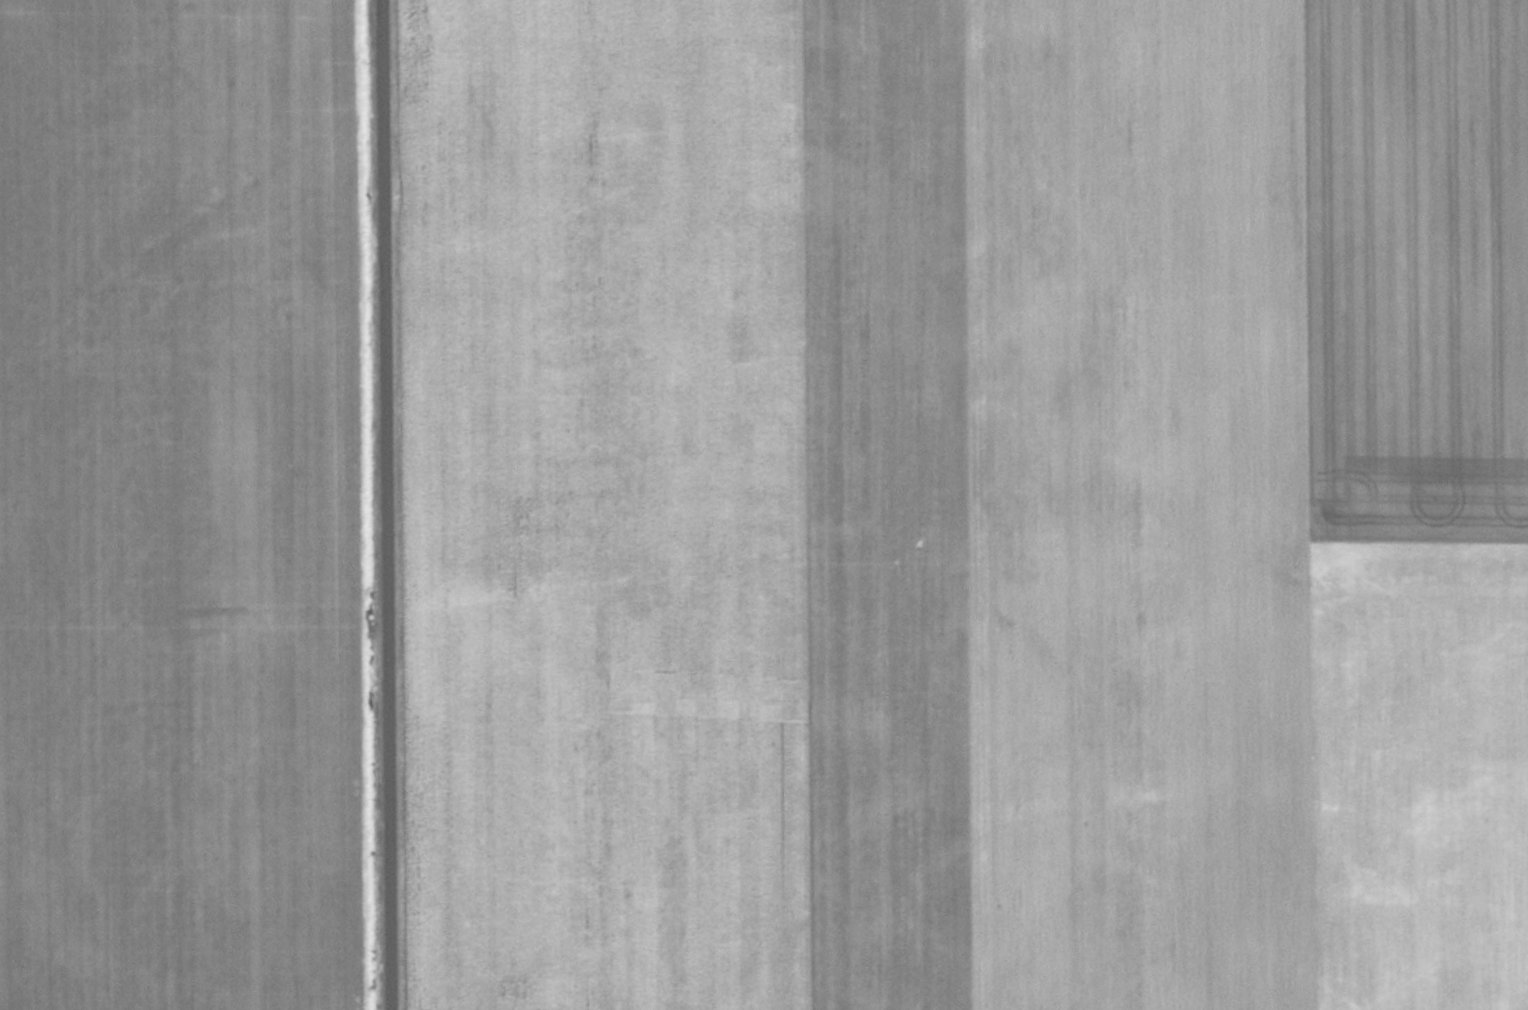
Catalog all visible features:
road: (386, 505)

